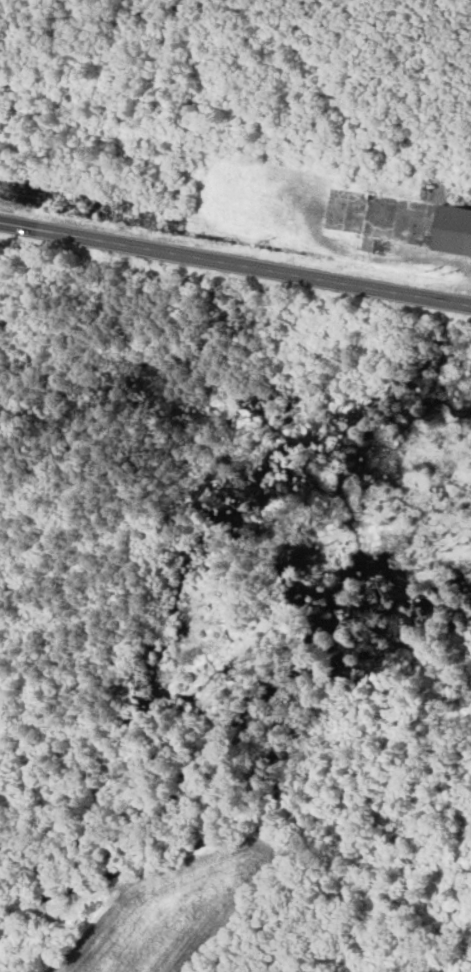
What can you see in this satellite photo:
building: (455, 231)
road: (235, 266)

